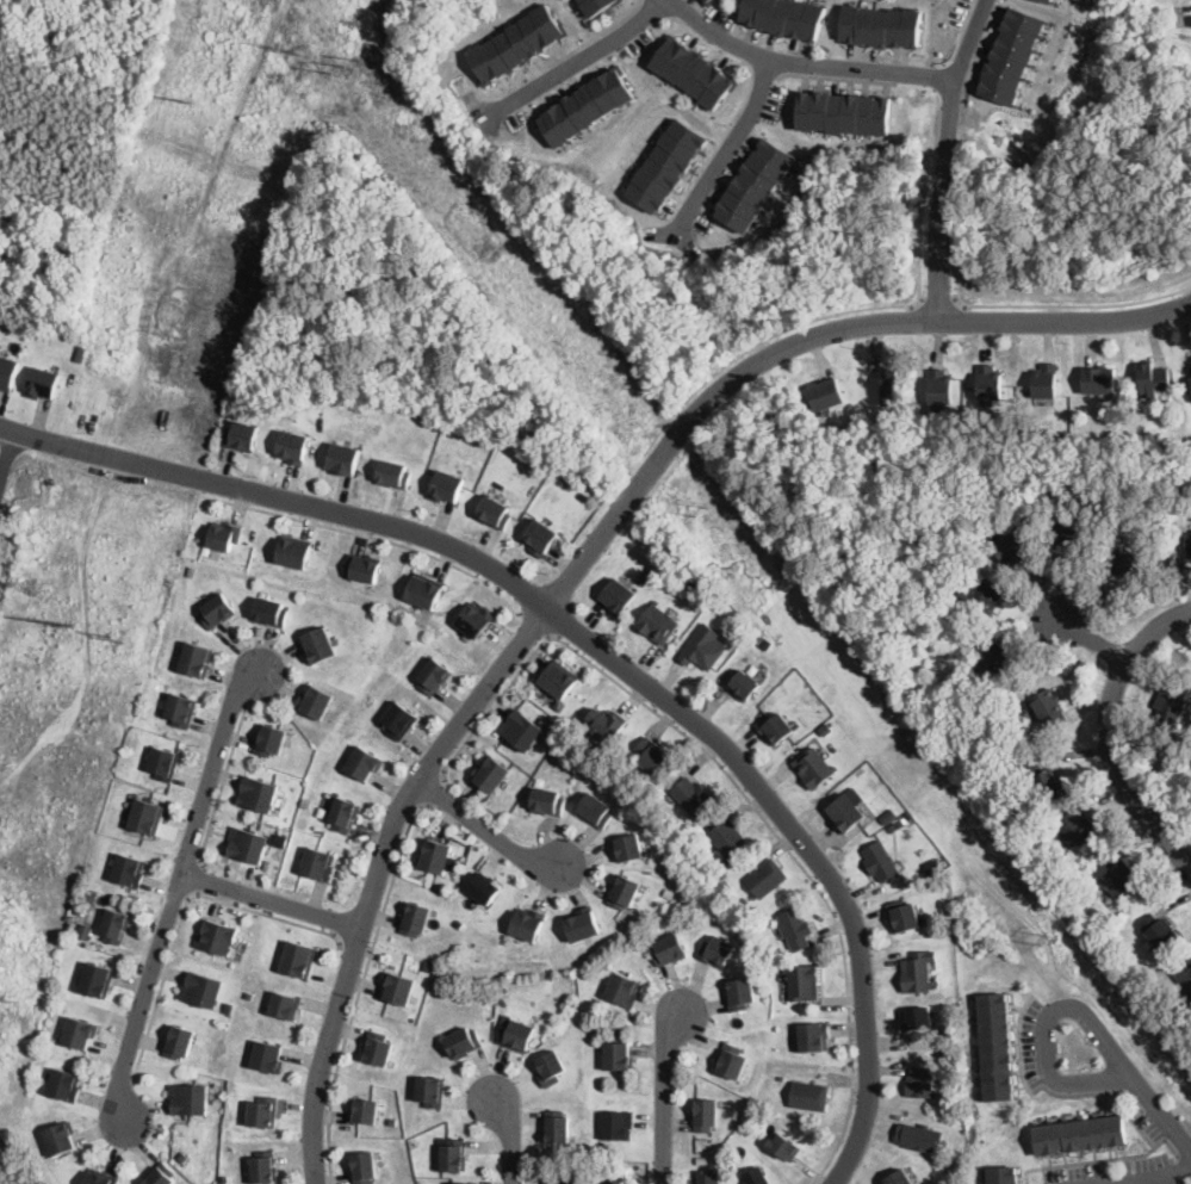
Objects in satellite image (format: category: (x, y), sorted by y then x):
building: (1050, 0)
building: (707, 1)
building: (595, 5)
road: (1189, 13)
building: (782, 16)
building: (879, 25)
road: (957, 36)
building: (516, 43)
road: (572, 48)
power tower: (291, 50)
building: (1011, 54)
road: (575, 56)
road: (802, 61)
power tower: (342, 64)
building: (693, 70)
road: (762, 72)
road: (835, 76)
power tower: (185, 98)
road: (740, 103)
building: (584, 105)
building: (843, 111)
road: (726, 149)
road: (944, 156)
building: (666, 163)
building: (755, 182)
road: (923, 200)
road: (936, 302)
road: (1075, 304)
road: (759, 340)
building: (80, 352)
building: (7, 371)
building: (1153, 377)
building: (1190, 377)
building: (1099, 378)
building: (1044, 379)
building: (990, 380)
building: (42, 382)
building: (888, 383)
building: (941, 385)
building: (826, 391)
building: (241, 436)
building: (292, 446)
road: (8, 458)
building: (343, 459)
building: (392, 473)
building: (446, 486)
power tower: (701, 507)
building: (492, 513)
building: (1072, 528)
road: (367, 534)
building: (224, 535)
building: (538, 537)
building: (1189, 541)
building: (1013, 545)
building: (293, 552)
road: (585, 554)
building: (1130, 563)
building: (365, 570)
building: (644, 577)
power tower: (39, 583)
building: (693, 584)
building: (423, 591)
building: (618, 596)
building: (981, 596)
building: (217, 609)
building: (271, 609)
building: (473, 619)
power tower: (70, 620)
road: (532, 622)
building: (657, 622)
power tower: (118, 634)
building: (757, 637)
road: (1092, 637)
building: (765, 643)
building: (990, 643)
building: (318, 645)
building: (703, 647)
road: (598, 651)
building: (939, 655)
building: (196, 659)
building: (1001, 661)
building: (433, 676)
building: (558, 678)
building: (743, 684)
building: (315, 701)
building: (1172, 702)
building: (558, 703)
road: (491, 706)
building: (1049, 707)
building: (180, 709)
building: (399, 720)
building: (565, 720)
building: (607, 721)
building: (775, 729)
building: (825, 729)
building: (521, 730)
road: (1110, 734)
building: (269, 739)
building: (651, 754)
building: (163, 761)
building: (364, 762)
building: (813, 768)
building: (659, 770)
building: (490, 774)
building: (1044, 780)
road: (219, 786)
road: (433, 789)
building: (259, 794)
building: (691, 796)
building: (547, 801)
building: (887, 802)
building: (595, 810)
building: (844, 813)
building: (345, 814)
building: (145, 816)
building: (900, 824)
building: (892, 826)
building: (1075, 827)
road: (486, 829)
building: (728, 837)
building: (248, 844)
building: (628, 847)
building: (1030, 851)
building: (434, 855)
building: (880, 861)
building: (318, 863)
road: (799, 863)
building: (128, 870)
building: (722, 873)
building: (1116, 874)
building: (765, 878)
road: (203, 879)
building: (945, 882)
building: (484, 888)
road: (176, 889)
building: (624, 891)
building: (91, 893)
building: (744, 899)
road: (271, 901)
building: (1077, 905)
road: (184, 907)
building: (902, 916)
building: (415, 918)
building: (459, 922)
building: (527, 923)
building: (582, 924)
building: (114, 925)
building: (86, 929)
building: (795, 929)
building: (1159, 931)
power tower: (1046, 935)
building: (216, 936)
road: (355, 946)
building: (669, 949)
building: (717, 950)
building: (298, 960)
building: (918, 972)
building: (1183, 973)
building: (97, 980)
building: (802, 981)
building: (398, 987)
building: (201, 988)
road: (358, 990)
building: (622, 990)
building: (249, 993)
building: (739, 993)
power tower: (11, 998)
building: (285, 1005)
building: (505, 1018)
building: (918, 1018)
road: (1044, 1025)
building: (79, 1033)
building: (516, 1035)
building: (813, 1036)
building: (179, 1042)
building: (463, 1042)
building: (994, 1044)
building: (377, 1048)
building: (616, 1055)
building: (267, 1056)
building: (731, 1061)
building: (550, 1068)
building: (781, 1078)
building: (920, 1083)
building: (63, 1085)
building: (430, 1090)
road: (665, 1095)
building: (808, 1096)
building: (188, 1098)
building: (262, 1111)
building: (364, 1111)
building: (705, 1114)
road: (1159, 1114)
building: (393, 1121)
building: (557, 1126)
building: (618, 1126)
building: (1080, 1134)
road: (509, 1136)
building: (919, 1136)
building: (58, 1137)
building: (783, 1146)
building: (453, 1154)
building: (182, 1155)
building: (701, 1159)
building: (263, 1167)
building: (362, 1167)
building: (160, 1174)
building: (1003, 1174)
building: (709, 1177)
building: (756, 1177)
building: (100, 1178)
building: (900, 1178)
road: (1156, 1178)
building: (557, 1179)
building: (643, 1180)
building: (459, 1183)
building: (618, 1183)

